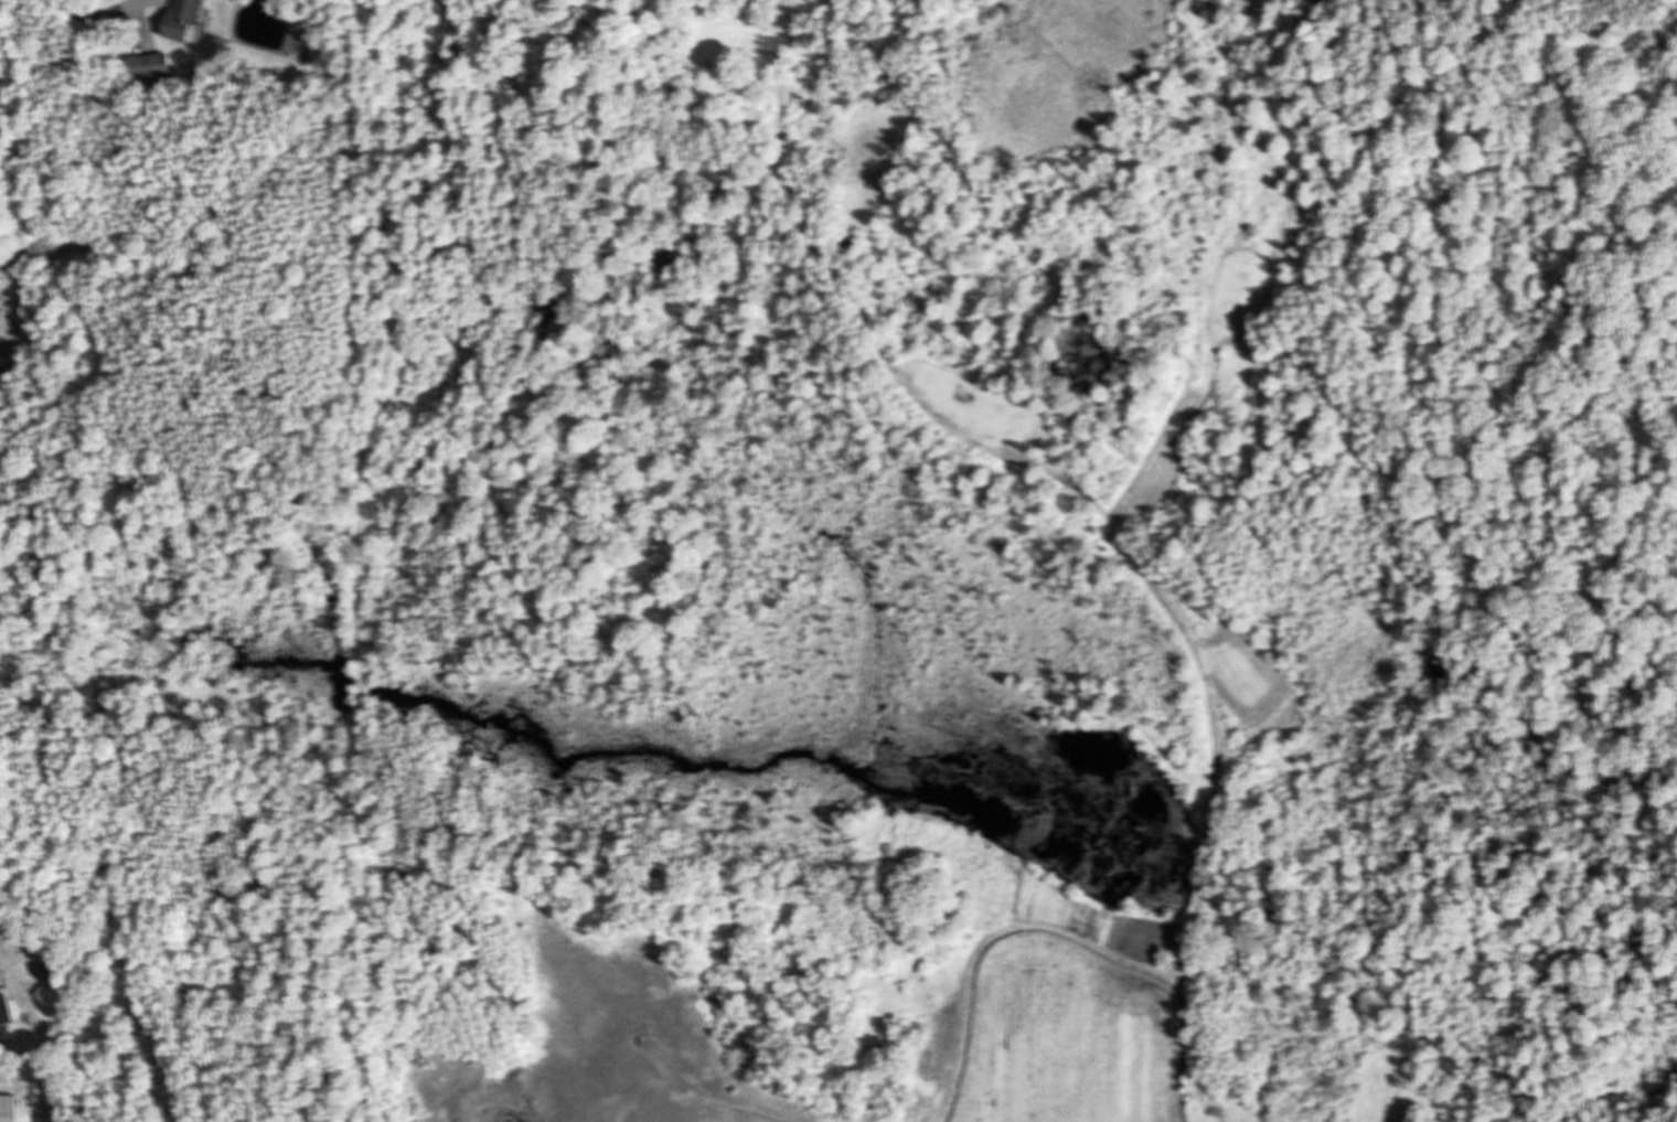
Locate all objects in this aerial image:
building: (190, 20)
building: (153, 67)
building: (10, 1012)
building: (10, 1108)

